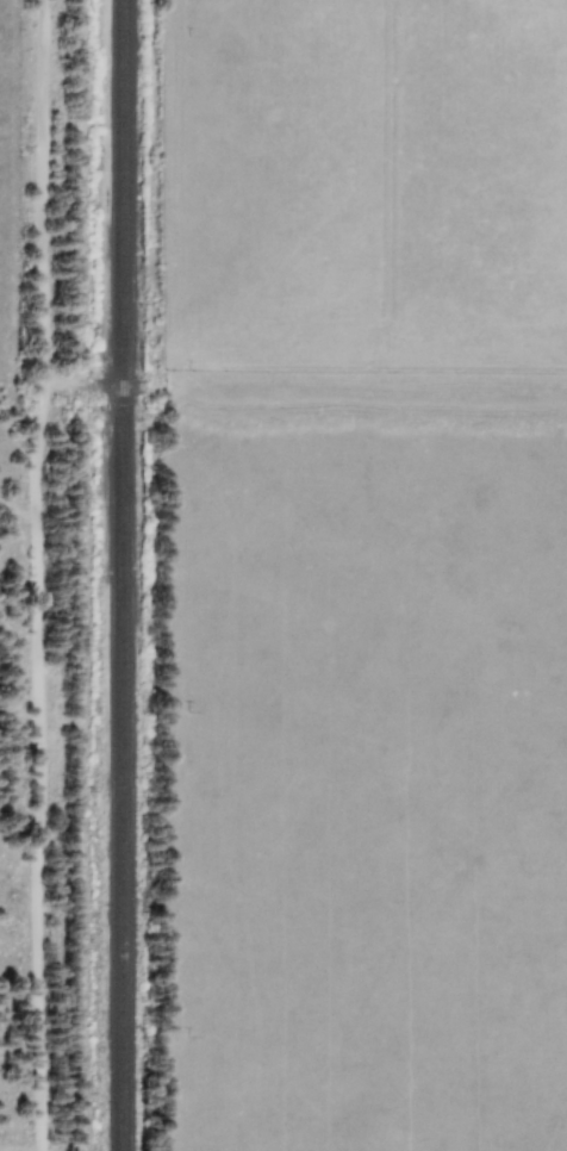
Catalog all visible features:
road: (40, 192)
road: (304, 384)
railway: (118, 575)
road: (38, 767)

